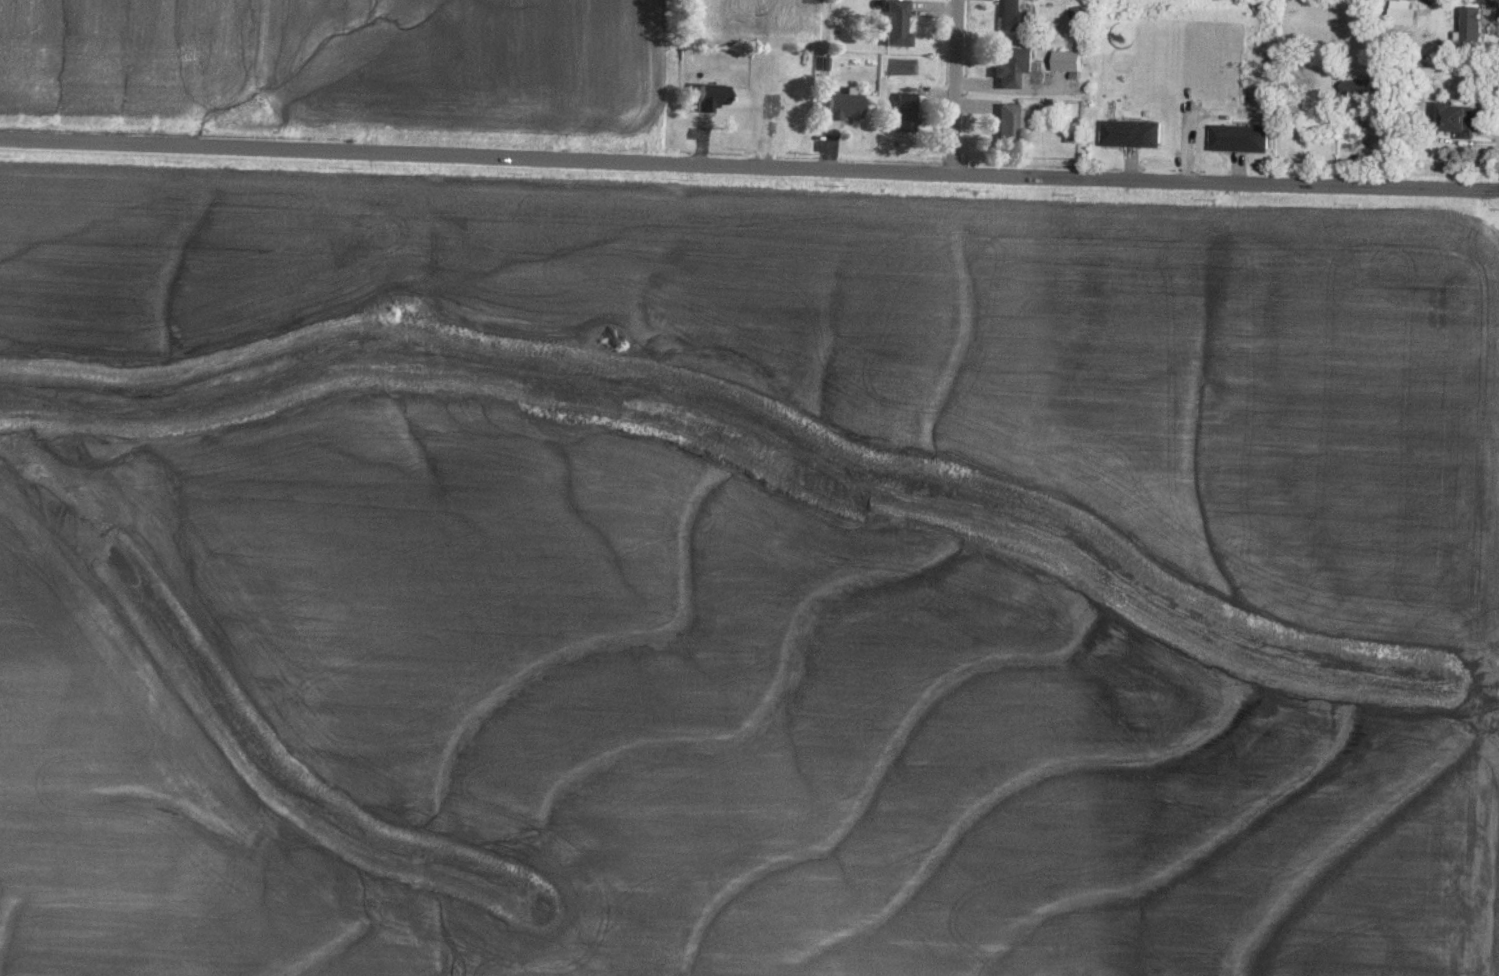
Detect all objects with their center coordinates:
building: (1012, 15)
building: (1405, 15)
building: (897, 23)
building: (1475, 23)
building: (1068, 61)
building: (1013, 65)
road: (955, 87)
building: (1357, 88)
building: (711, 96)
building: (846, 105)
building: (906, 112)
building: (1458, 117)
building: (1008, 123)
building: (1132, 133)
building: (1241, 138)
road: (328, 155)
road: (1078, 179)

